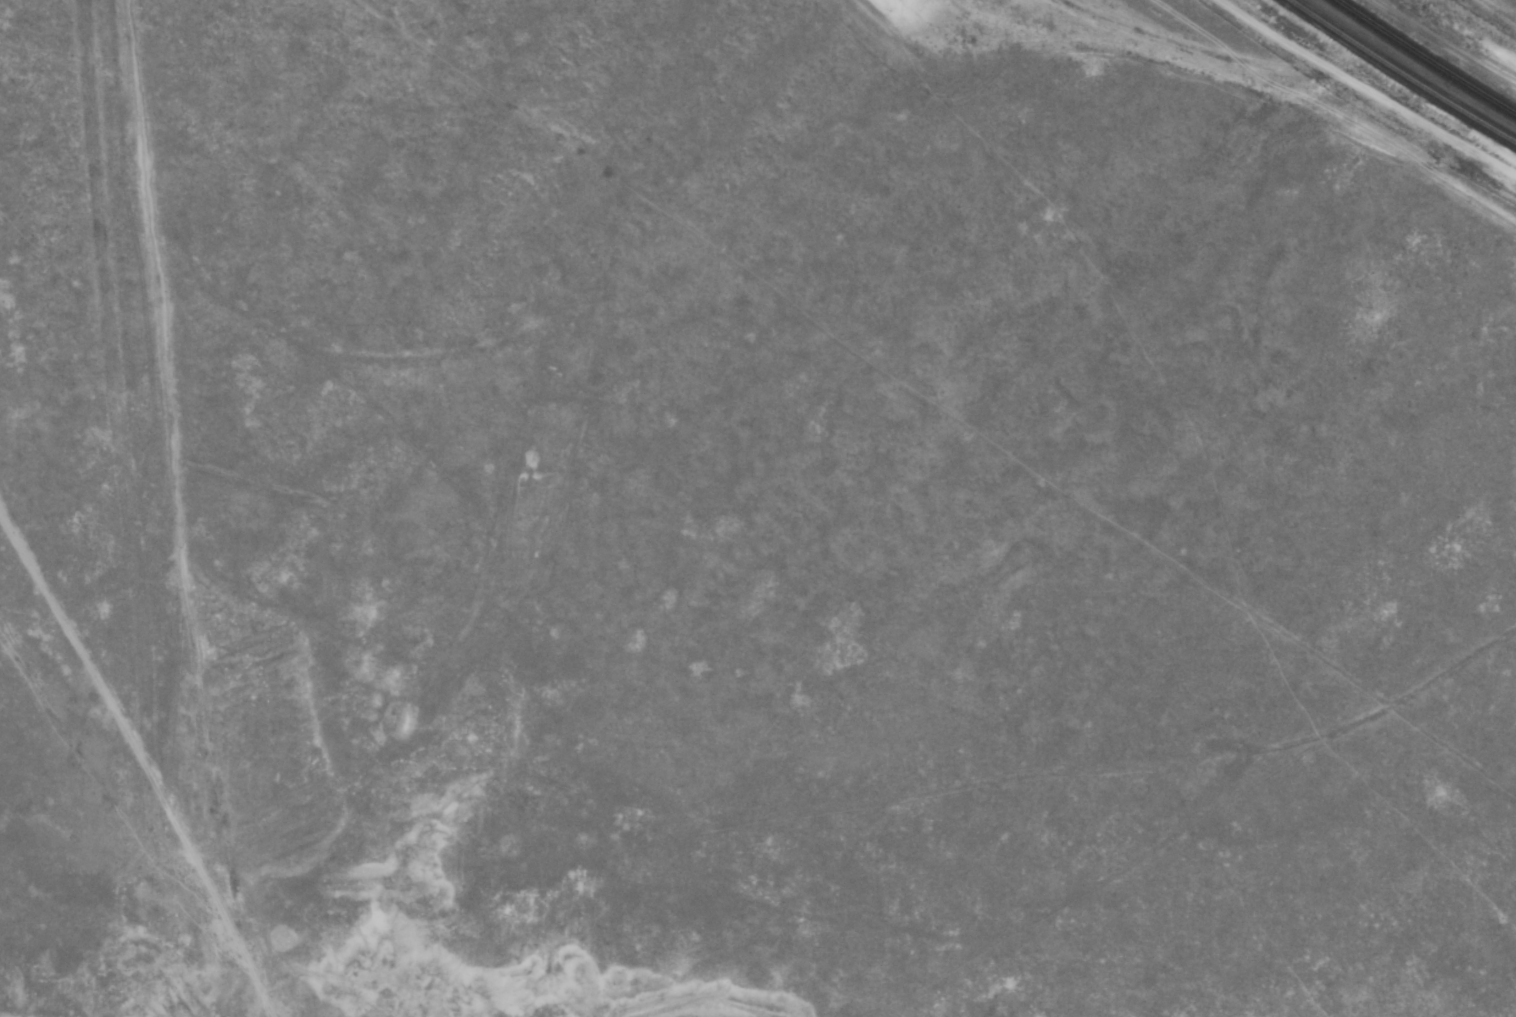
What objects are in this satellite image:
railway: (1425, 57)
railway: (1400, 74)
road: (1336, 145)

